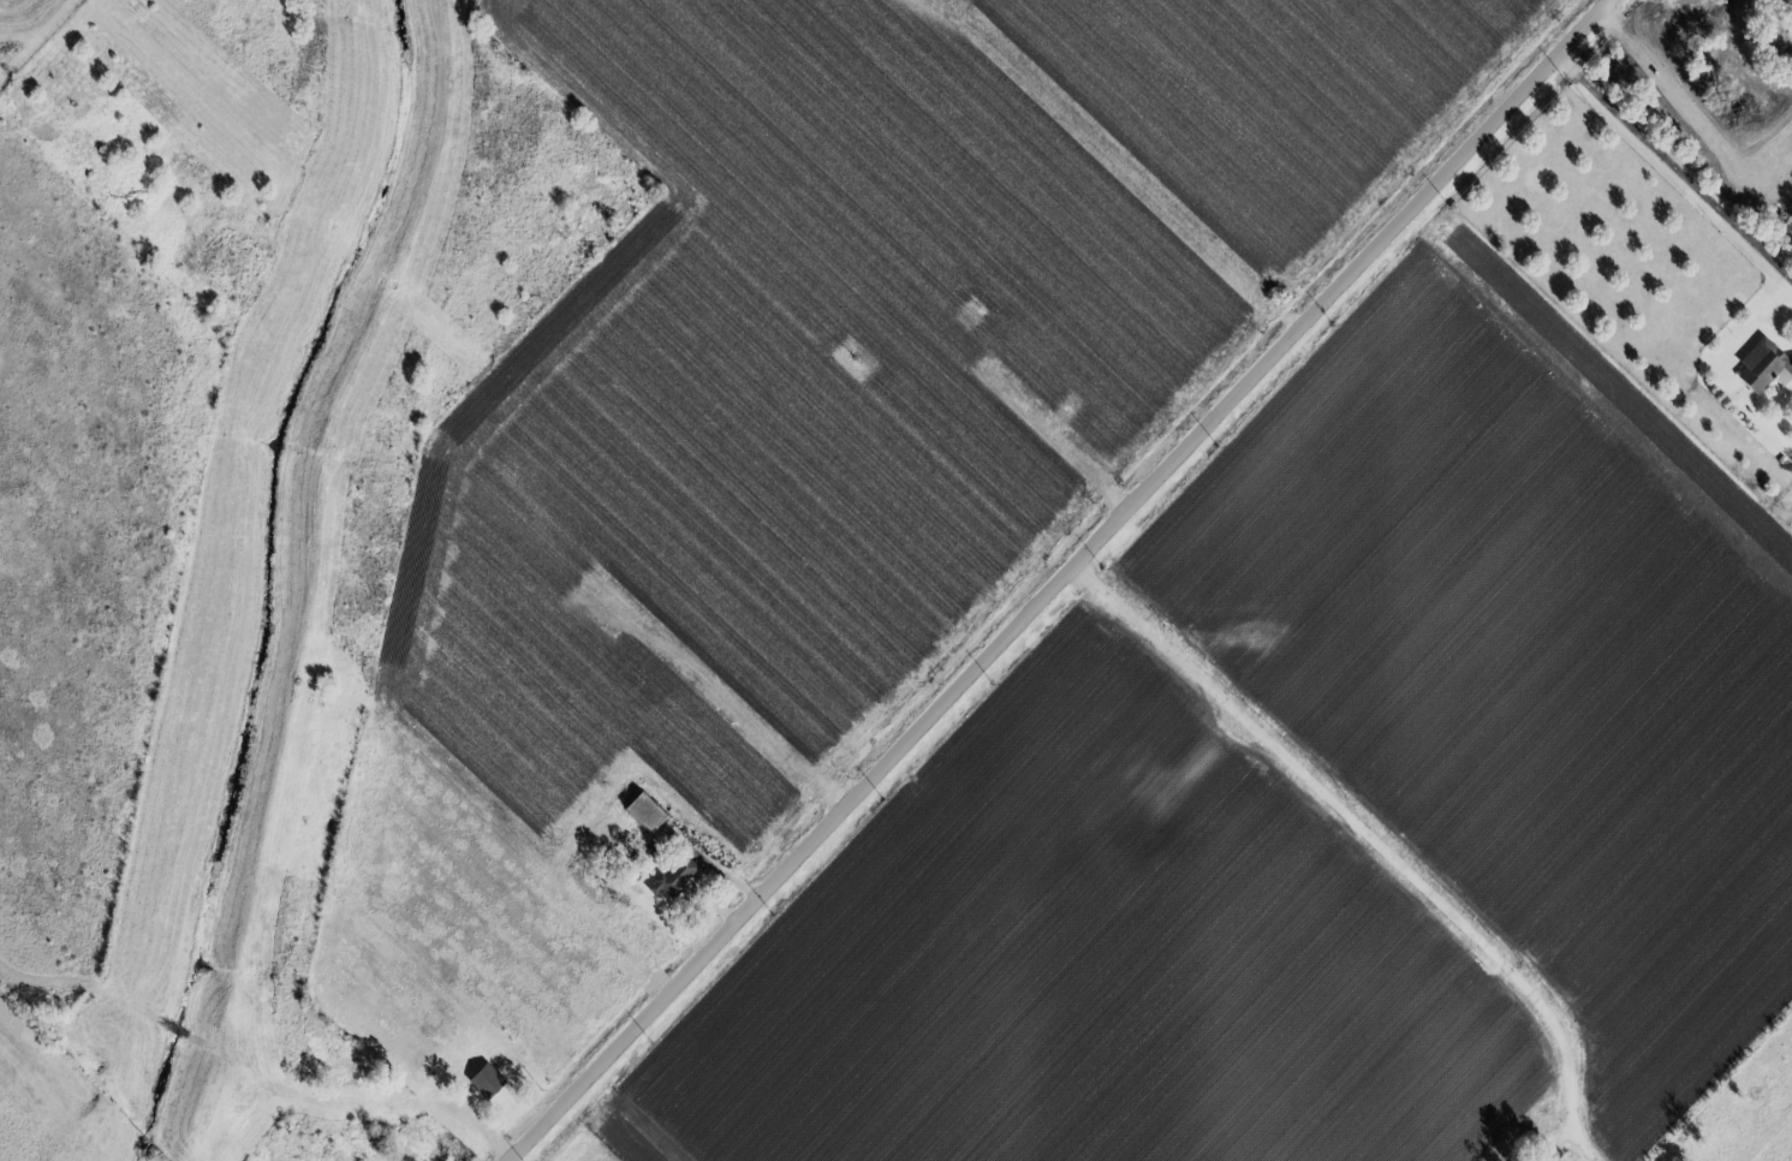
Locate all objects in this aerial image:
road: (1125, 162)
road: (1672, 173)
building: (1763, 367)
road: (1059, 579)
road: (1165, 637)
building: (641, 812)
building: (673, 877)
building: (483, 1079)
road: (638, 1118)
road: (1577, 1138)

